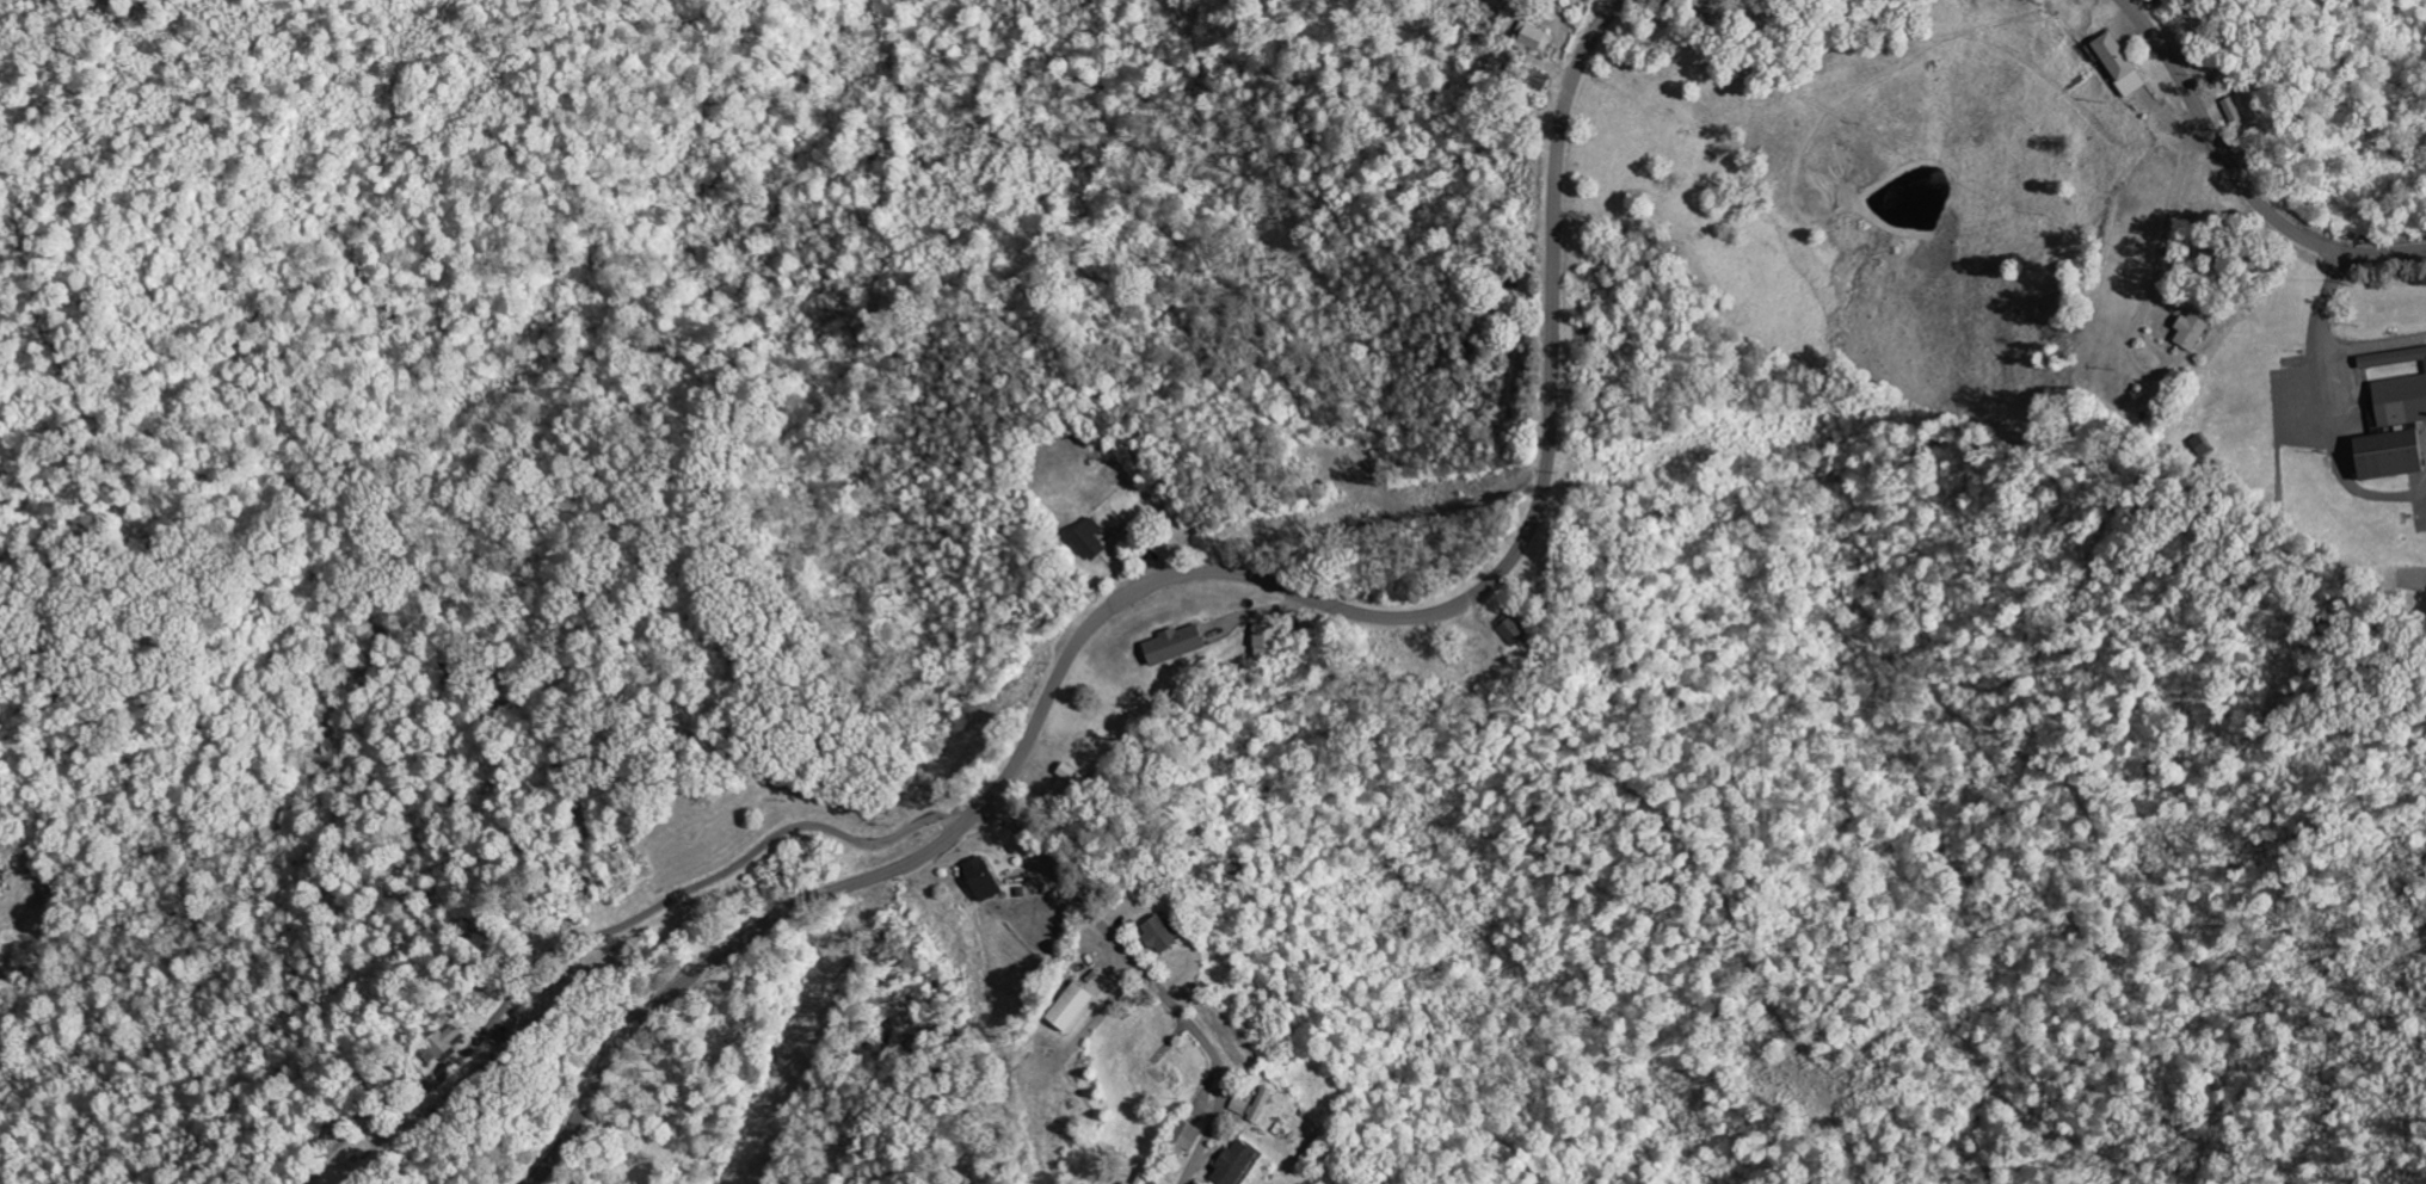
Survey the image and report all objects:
building: (1533, 39)
building: (2119, 64)
road: (2241, 178)
building: (2193, 331)
road: (2376, 344)
building: (2393, 359)
road: (2279, 408)
road: (2333, 408)
park: (2328, 421)
building: (2395, 432)
building: (2203, 446)
building: (1091, 541)
road: (2316, 548)
road: (1192, 575)
building: (1516, 633)
building: (1268, 641)
building: (1175, 646)
building: (985, 881)
road: (616, 932)
building: (1159, 937)
road: (1147, 978)
building: (1071, 1009)
building: (443, 1047)
building: (1254, 1108)
building: (1182, 1142)
building: (1236, 1165)
building: (1146, 1180)
building: (1123, 1183)

